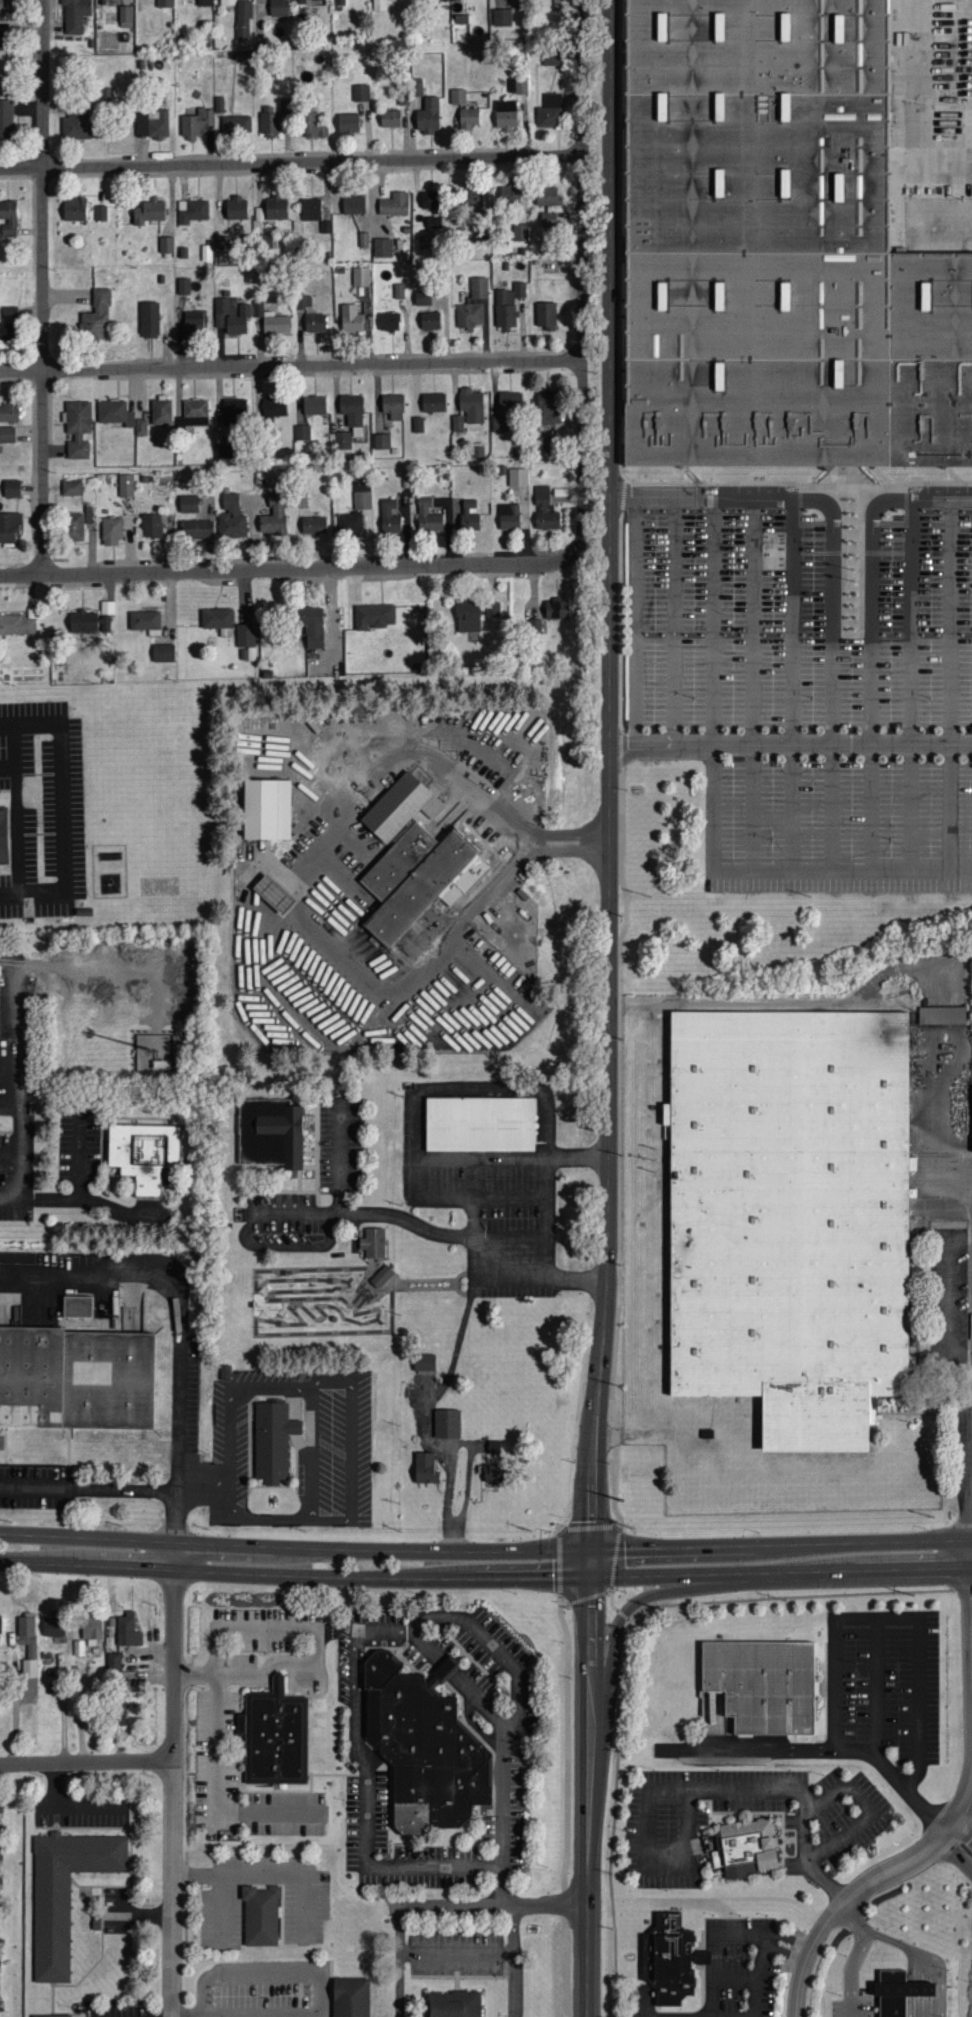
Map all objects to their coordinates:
building: (165, 3)
building: (205, 3)
building: (227, 3)
building: (560, 5)
building: (4, 6)
building: (379, 6)
building: (278, 8)
building: (75, 15)
building: (125, 17)
building: (502, 18)
building: (461, 20)
building: (243, 21)
building: (1, 39)
building: (551, 57)
building: (417, 87)
building: (521, 87)
building: (361, 93)
building: (457, 97)
building: (284, 106)
building: (550, 112)
building: (506, 116)
building: (428, 117)
building: (469, 118)
building: (390, 119)
building: (6, 121)
building: (269, 122)
building: (196, 123)
building: (152, 124)
building: (348, 124)
building: (75, 125)
building: (236, 125)
building: (314, 126)
road: (292, 162)
building: (506, 198)
building: (430, 200)
building: (472, 204)
building: (354, 205)
building: (394, 205)
building: (549, 205)
building: (75, 209)
building: (236, 209)
building: (276, 209)
building: (192, 211)
building: (149, 212)
building: (101, 213)
building: (260, 215)
building: (316, 215)
building: (8, 219)
building: (434, 223)
building: (520, 233)
building: (223, 243)
building: (166, 245)
building: (383, 248)
building: (778, 249)
building: (206, 253)
road: (584, 272)
building: (360, 276)
building: (183, 285)
road: (42, 286)
building: (479, 287)
building: (399, 290)
building: (423, 297)
building: (303, 301)
building: (508, 305)
building: (9, 311)
building: (546, 313)
building: (233, 315)
building: (470, 315)
building: (96, 316)
building: (351, 318)
building: (149, 319)
building: (272, 320)
building: (430, 320)
building: (194, 321)
building: (389, 321)
building: (315, 322)
building: (5, 329)
road: (292, 365)
building: (509, 401)
building: (433, 402)
building: (314, 405)
building: (393, 405)
building: (471, 405)
building: (548, 407)
building: (271, 408)
building: (161, 411)
building: (234, 411)
building: (9, 412)
building: (114, 412)
building: (195, 412)
building: (353, 412)
building: (457, 422)
building: (499, 423)
building: (141, 427)
building: (78, 428)
building: (302, 432)
building: (7, 434)
building: (343, 440)
building: (382, 441)
building: (477, 449)
building: (517, 477)
building: (126, 485)
building: (72, 487)
building: (12, 488)
road: (728, 497)
road: (916, 497)
building: (301, 499)
building: (362, 500)
building: (188, 503)
building: (544, 509)
building: (88, 514)
building: (469, 515)
building: (274, 516)
building: (428, 516)
building: (509, 516)
building: (231, 517)
building: (389, 517)
building: (350, 523)
building: (151, 525)
building: (314, 525)
building: (75, 526)
building: (9, 527)
building: (196, 528)
building: (112, 530)
road: (295, 569)
building: (493, 609)
building: (556, 609)
building: (374, 616)
building: (468, 616)
parking lot: (801, 619)
building: (92, 620)
building: (145, 621)
building: (218, 621)
building: (18, 622)
road: (675, 623)
road: (635, 624)
building: (310, 625)
building: (163, 652)
road: (714, 689)
road: (754, 689)
road: (794, 689)
road: (910, 689)
road: (951, 690)
road: (832, 700)
road: (872, 700)
road: (460, 733)
road: (350, 734)
road: (397, 744)
road: (791, 749)
road: (622, 762)
road: (383, 763)
road: (8, 765)
road: (319, 771)
road: (611, 781)
road: (527, 787)
road: (356, 794)
parking lot: (44, 807)
road: (62, 808)
building: (267, 808)
road: (17, 809)
road: (496, 819)
parking lot: (842, 824)
building: (3, 835)
building: (409, 856)
road: (843, 882)
road: (274, 885)
road: (284, 890)
road: (291, 893)
building: (272, 895)
road: (288, 920)
road: (269, 985)
road: (382, 992)
building: (941, 1015)
road: (491, 1019)
building: (154, 1052)
road: (451, 1087)
road: (15, 1089)
building: (479, 1123)
building: (271, 1132)
building: (143, 1154)
road: (340, 1156)
road: (77, 1199)
building: (790, 1216)
road: (450, 1235)
building: (373, 1240)
road: (511, 1274)
building: (382, 1275)
road: (179, 1330)
road: (456, 1355)
building: (424, 1362)
building: (75, 1374)
road: (312, 1414)
building: (446, 1424)
building: (272, 1439)
road: (451, 1451)
building: (425, 1469)
building: (493, 1474)
road: (88, 1487)
road: (205, 1492)
road: (558, 1535)
road: (615, 1555)
road: (871, 1557)
road: (296, 1561)
road: (682, 1561)
traffic signals: (593, 1563)
road: (798, 1597)
road: (584, 1600)
road: (611, 1601)
road: (622, 1615)
road: (896, 1616)
building: (0, 1624)
building: (53, 1626)
building: (26, 1629)
building: (91, 1629)
road: (243, 1629)
building: (128, 1630)
road: (614, 1636)
road: (495, 1646)
building: (78, 1647)
road: (175, 1659)
building: (114, 1661)
building: (29, 1667)
road: (263, 1673)
parking lot: (886, 1680)
building: (762, 1683)
road: (877, 1683)
road: (591, 1691)
building: (116, 1712)
building: (274, 1733)
road: (357, 1744)
building: (424, 1744)
road: (827, 1750)
road: (87, 1762)
road: (502, 1792)
road: (803, 1795)
road: (216, 1797)
road: (868, 1807)
road: (565, 1810)
parking lot: (838, 1823)
road: (961, 1841)
building: (747, 1843)
road: (648, 1865)
road: (197, 1873)
road: (261, 1874)
road: (864, 1887)
road: (173, 1889)
building: (65, 1891)
road: (493, 1905)
building: (260, 1913)
road: (139, 1914)
road: (587, 1917)
road: (723, 1935)
road: (459, 1950)
road: (915, 1954)
road: (855, 1956)
building: (670, 1957)
road: (518, 1960)
road: (400, 1962)
road: (264, 1974)
road: (757, 1975)
road: (736, 1976)
parking lot: (263, 1988)
building: (900, 1992)
building: (352, 1996)
road: (646, 2000)
building: (452, 2002)
building: (52, 2014)
road: (263, 2014)
road: (188, 2015)
road: (205, 2016)

